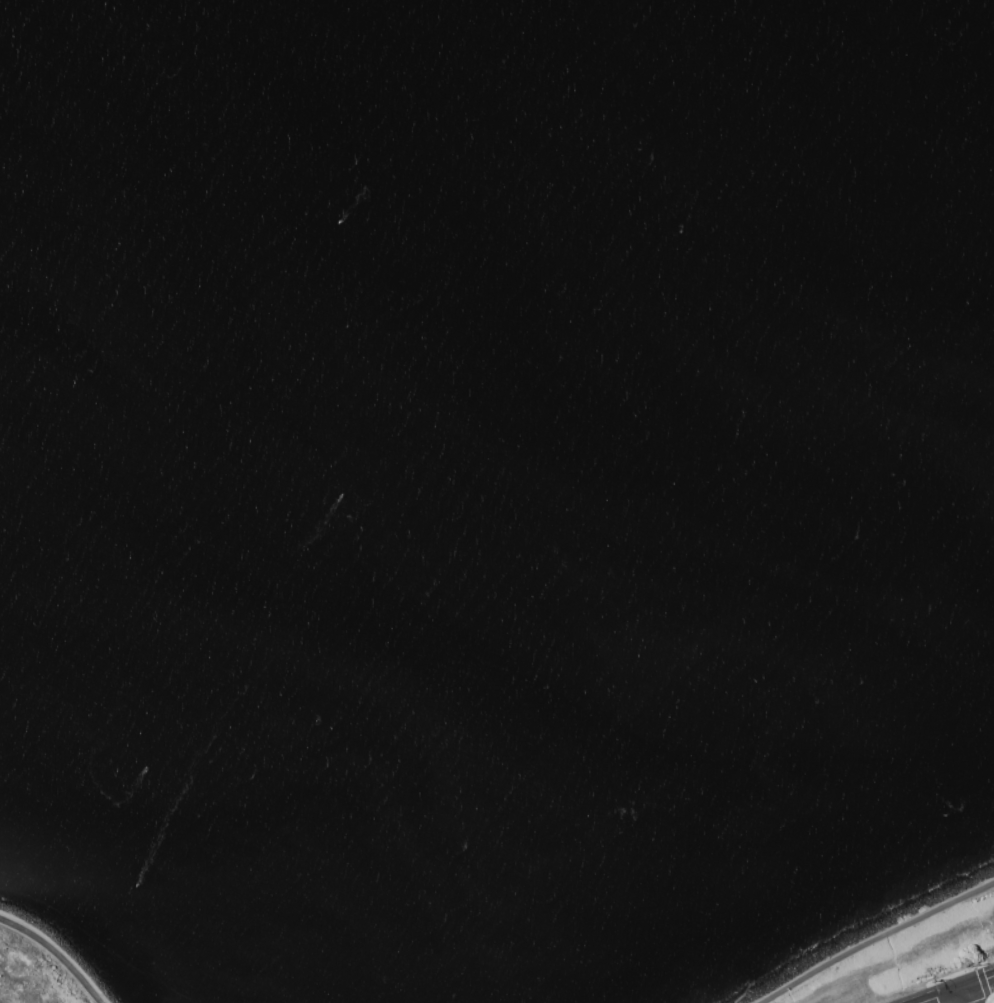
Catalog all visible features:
road: (958, 989)
road: (966, 995)
road: (989, 997)

